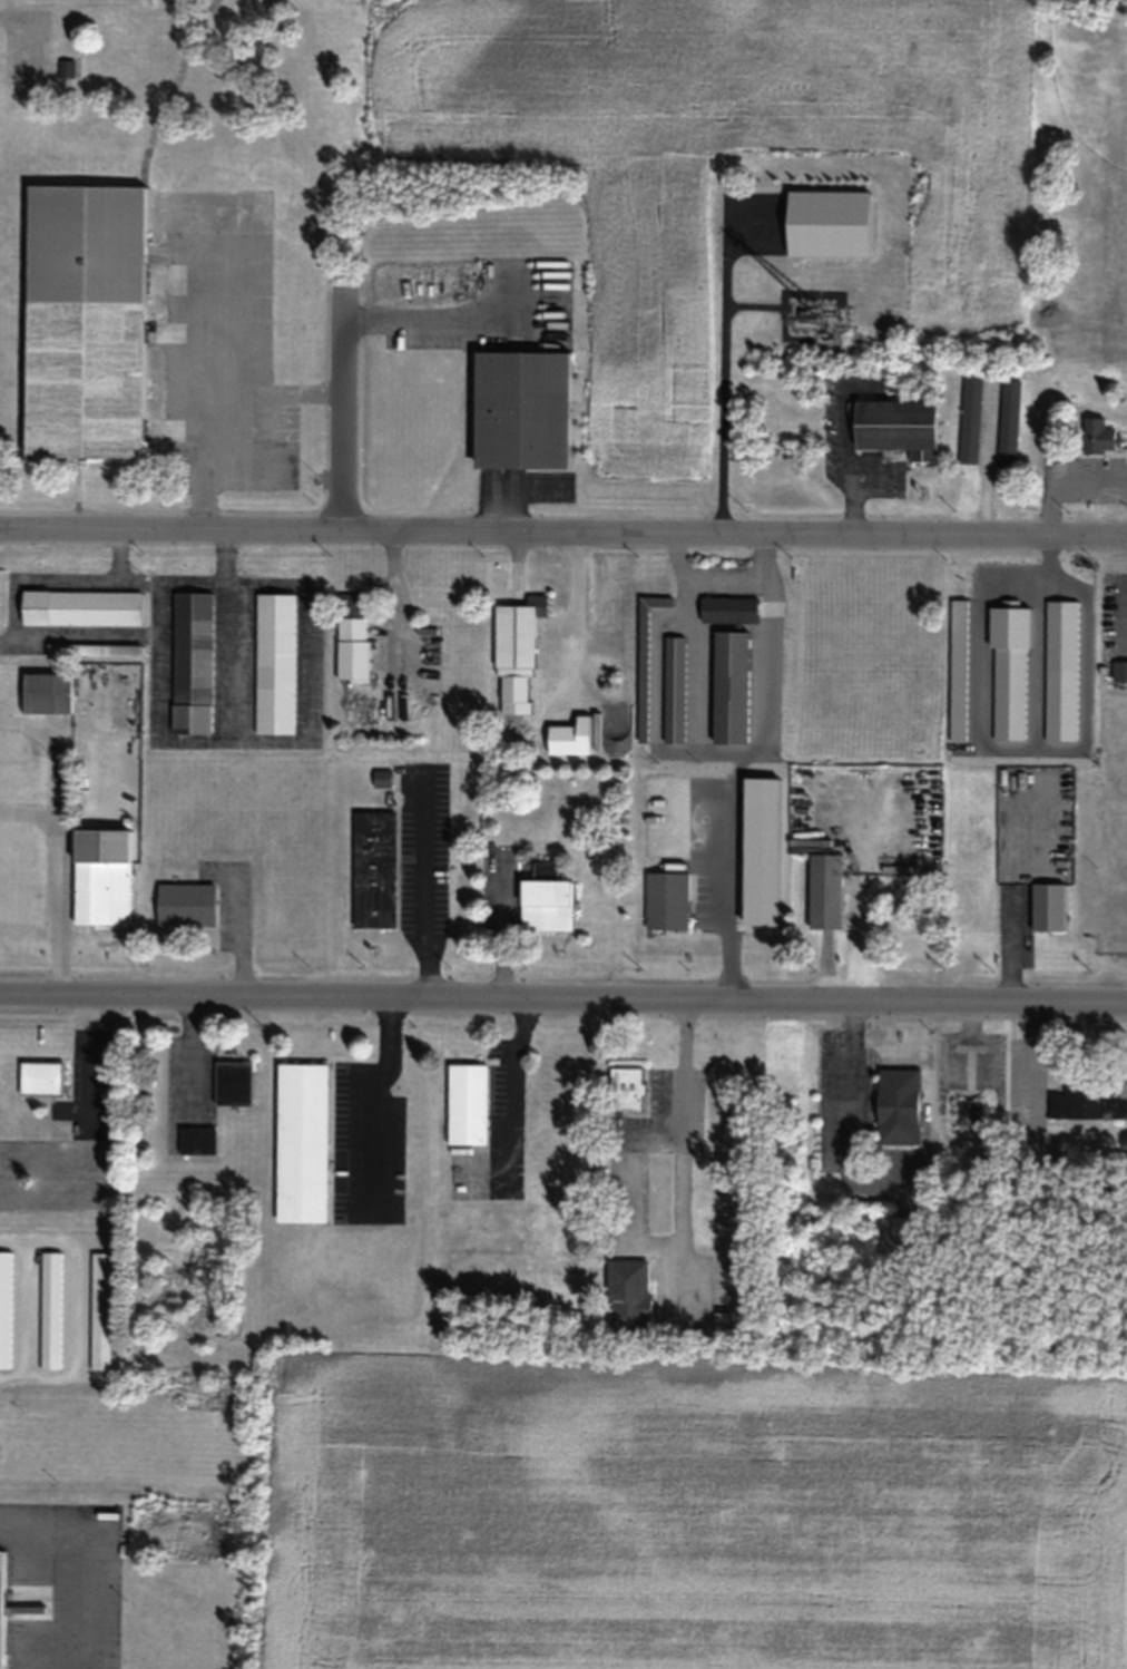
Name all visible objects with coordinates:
building: (65, 67)
building: (826, 223)
building: (84, 321)
road: (725, 367)
road: (340, 408)
building: (519, 409)
building: (969, 419)
building: (1008, 422)
building: (896, 427)
building: (1099, 436)
road: (562, 529)
building: (351, 603)
building: (80, 607)
building: (727, 609)
parking lot: (1113, 616)
road: (1121, 623)
building: (351, 646)
building: (92, 650)
building: (514, 651)
building: (644, 661)
building: (192, 662)
building: (274, 663)
building: (1119, 671)
building: (729, 687)
building: (673, 690)
building: (46, 692)
building: (572, 736)
road: (28, 810)
road: (57, 838)
building: (373, 868)
building: (545, 869)
building: (823, 890)
building: (101, 892)
building: (666, 900)
building: (185, 904)
building: (543, 904)
building: (1047, 907)
road: (563, 1003)
building: (39, 1076)
building: (232, 1083)
building: (626, 1089)
building: (1087, 1103)
building: (465, 1104)
building: (896, 1106)
building: (968, 1111)
building: (196, 1141)
building: (300, 1142)
building: (626, 1296)
building: (4, 1309)
building: (49, 1309)
building: (99, 1310)
building: (94, 1510)
crop: (688, 1512)
building: (0, 1603)

